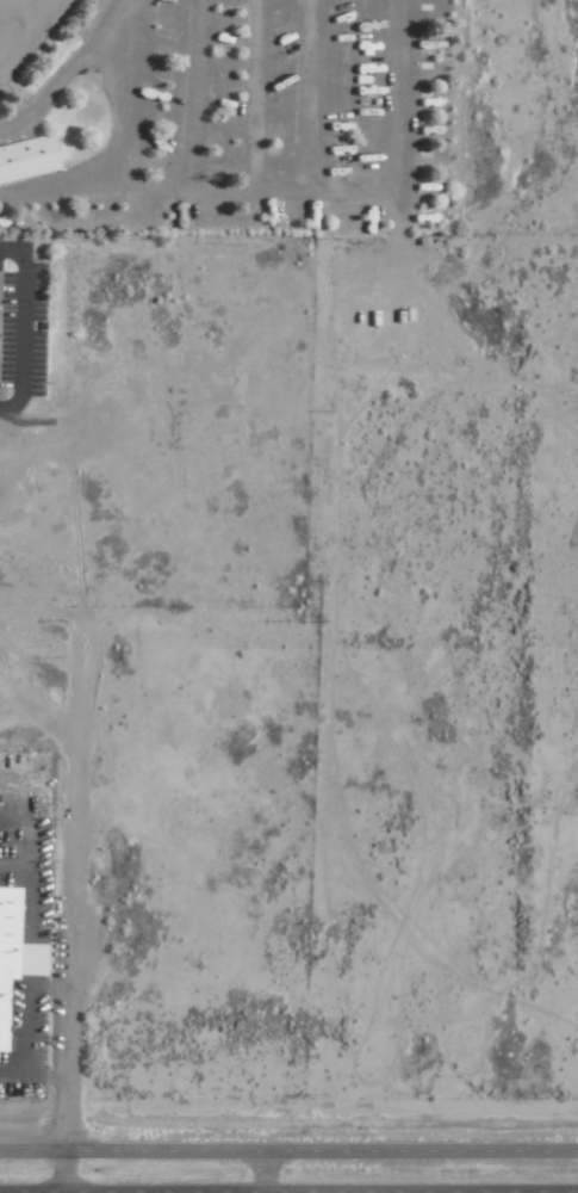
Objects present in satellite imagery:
road: (67, 66)
building: (26, 157)
road: (288, 187)
road: (26, 326)
building: (13, 952)
road: (288, 1151)
road: (62, 1172)
road: (419, 1192)

